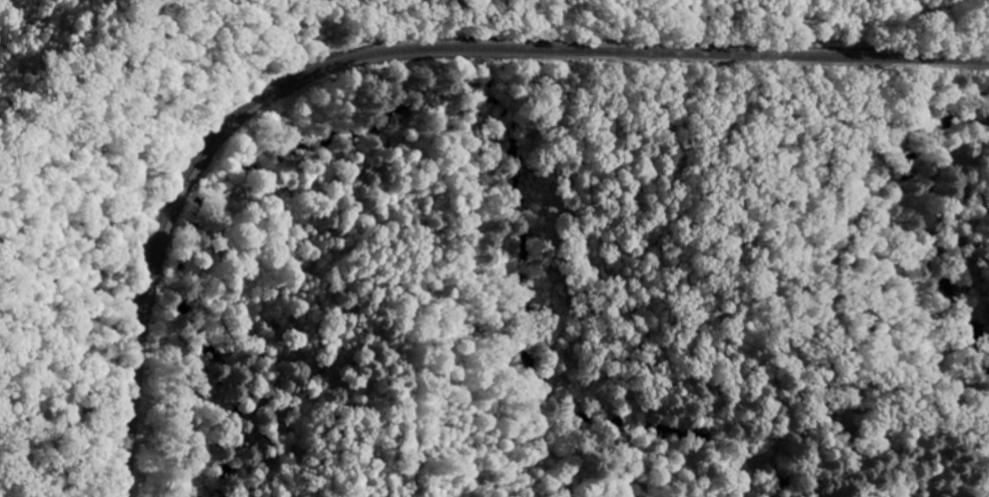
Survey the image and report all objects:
railway: (402, 50)

